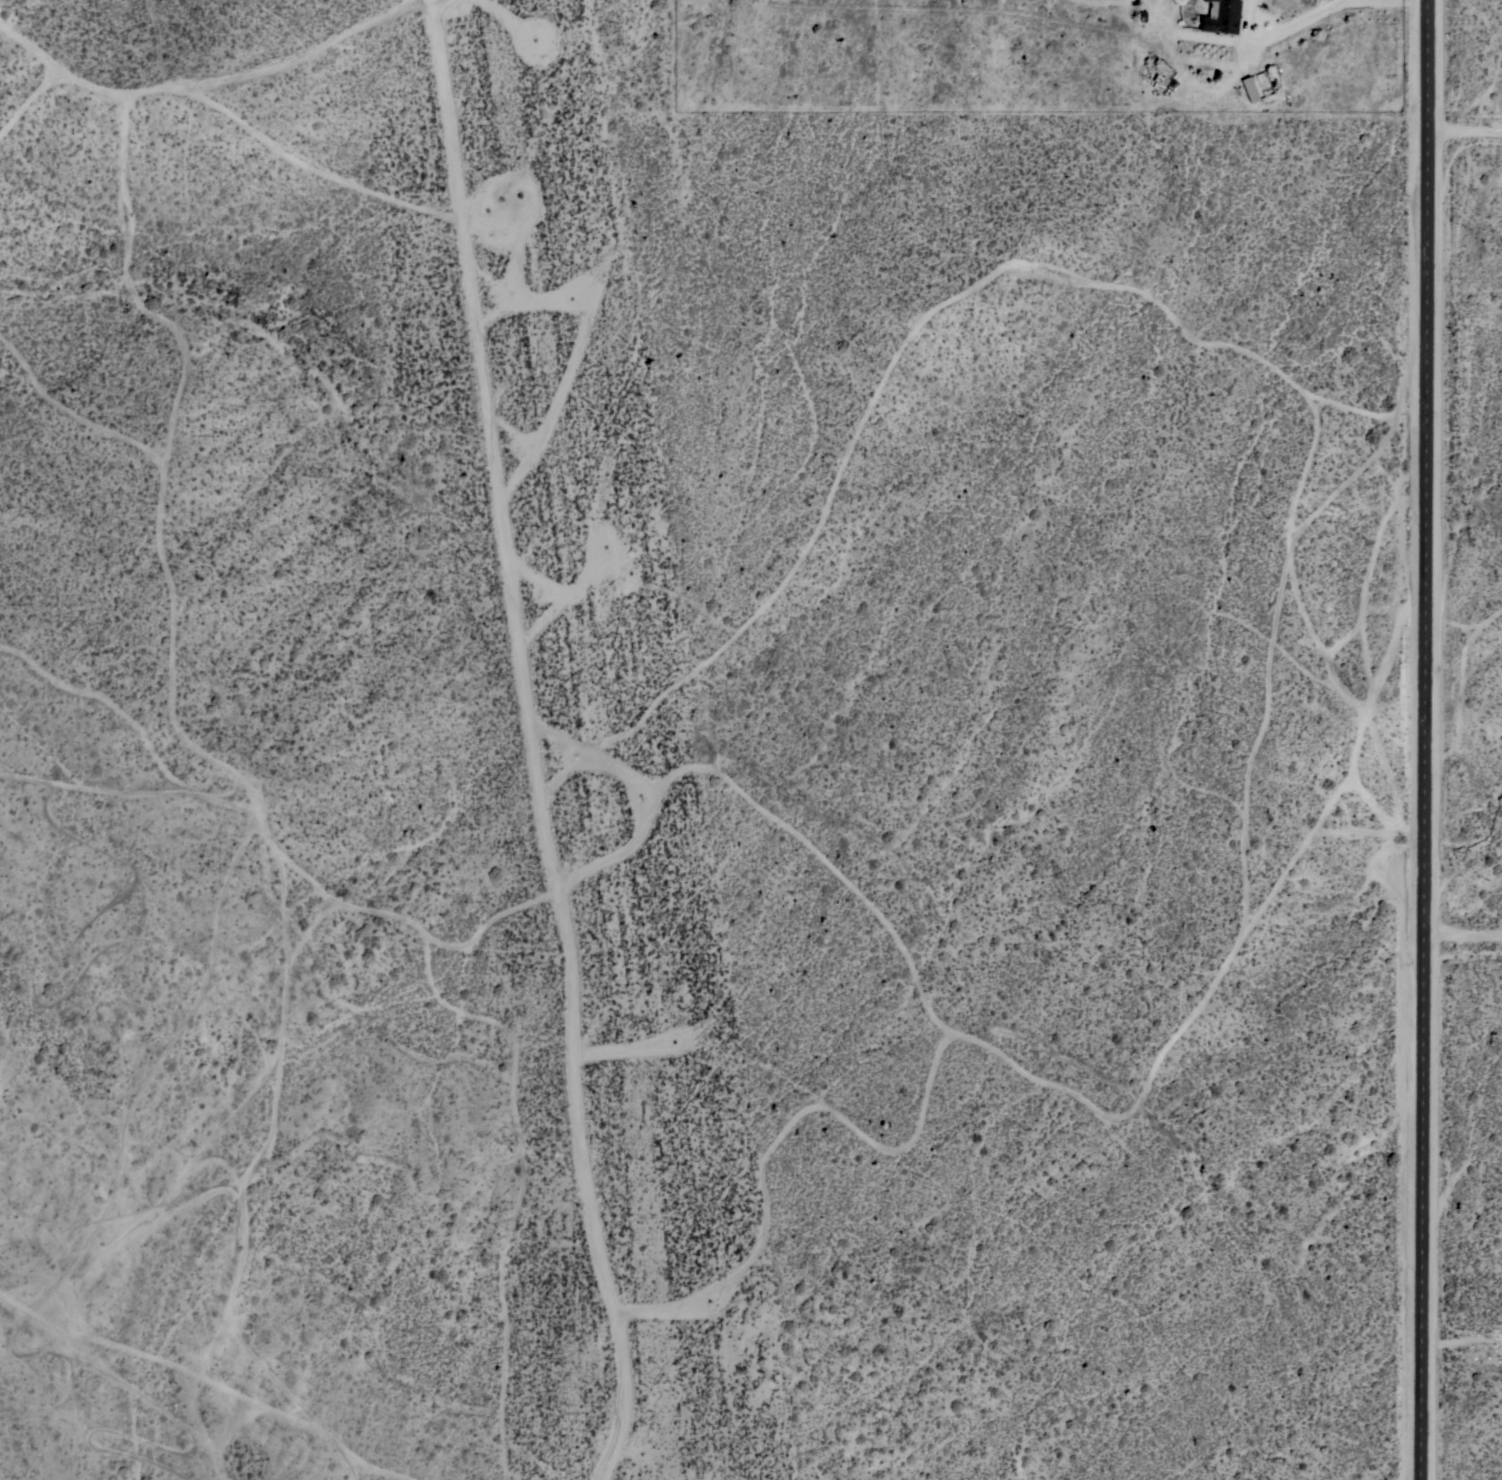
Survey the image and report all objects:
road: (1320, 12)
building: (1221, 16)
building: (1250, 88)
road: (1465, 137)
road: (1425, 740)
road: (529, 744)
road: (1463, 937)
road: (1462, 1347)

